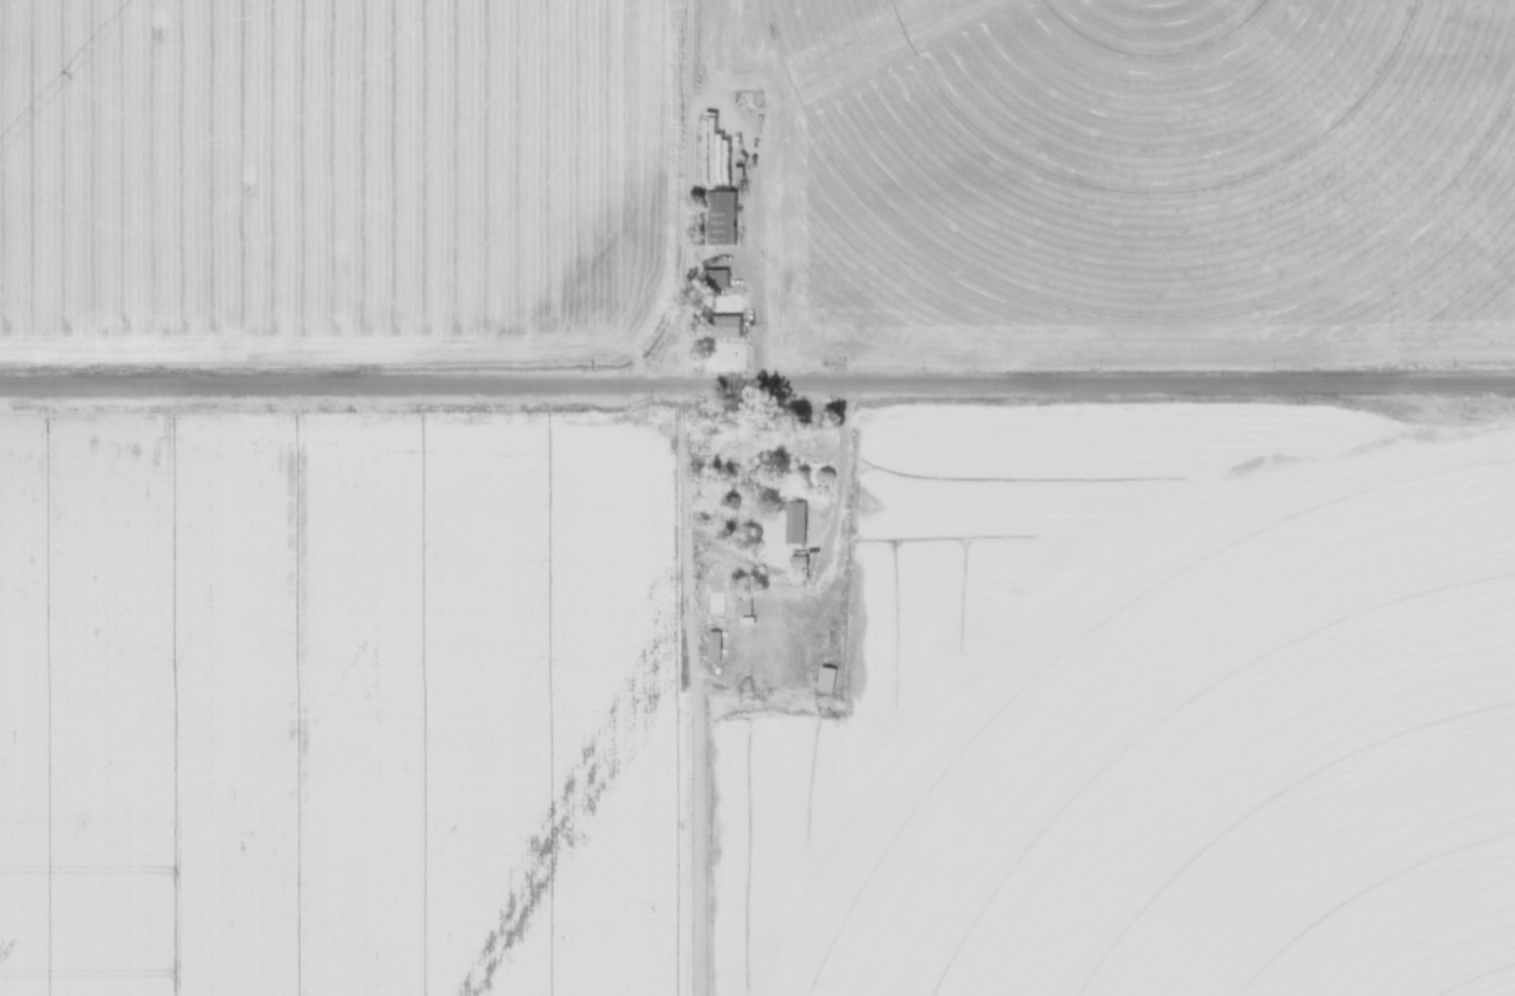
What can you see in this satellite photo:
road: (682, 57)
road: (706, 106)
building: (719, 218)
road: (714, 259)
building: (717, 278)
building: (725, 327)
road: (757, 385)
road: (830, 506)
building: (793, 522)
building: (796, 559)
building: (741, 600)
building: (711, 646)
road: (685, 679)

